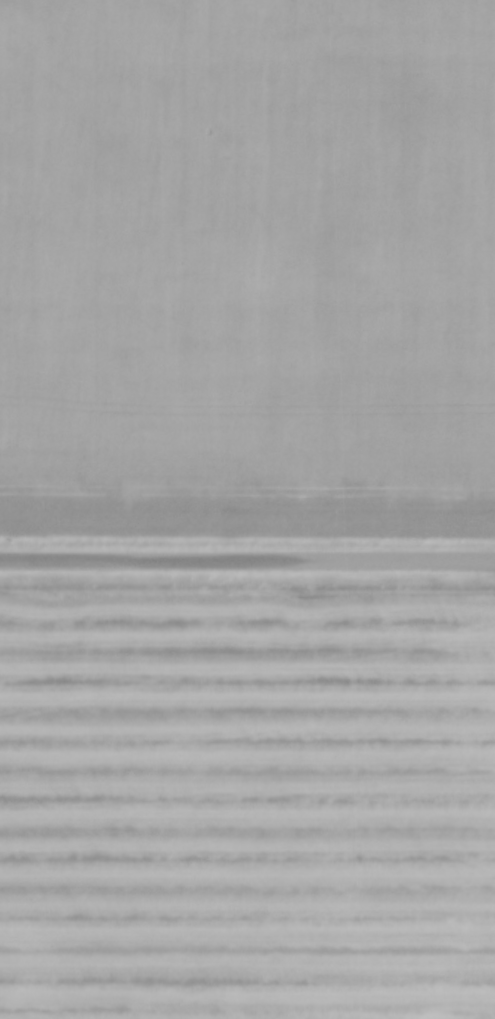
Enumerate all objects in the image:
road: (247, 561)

